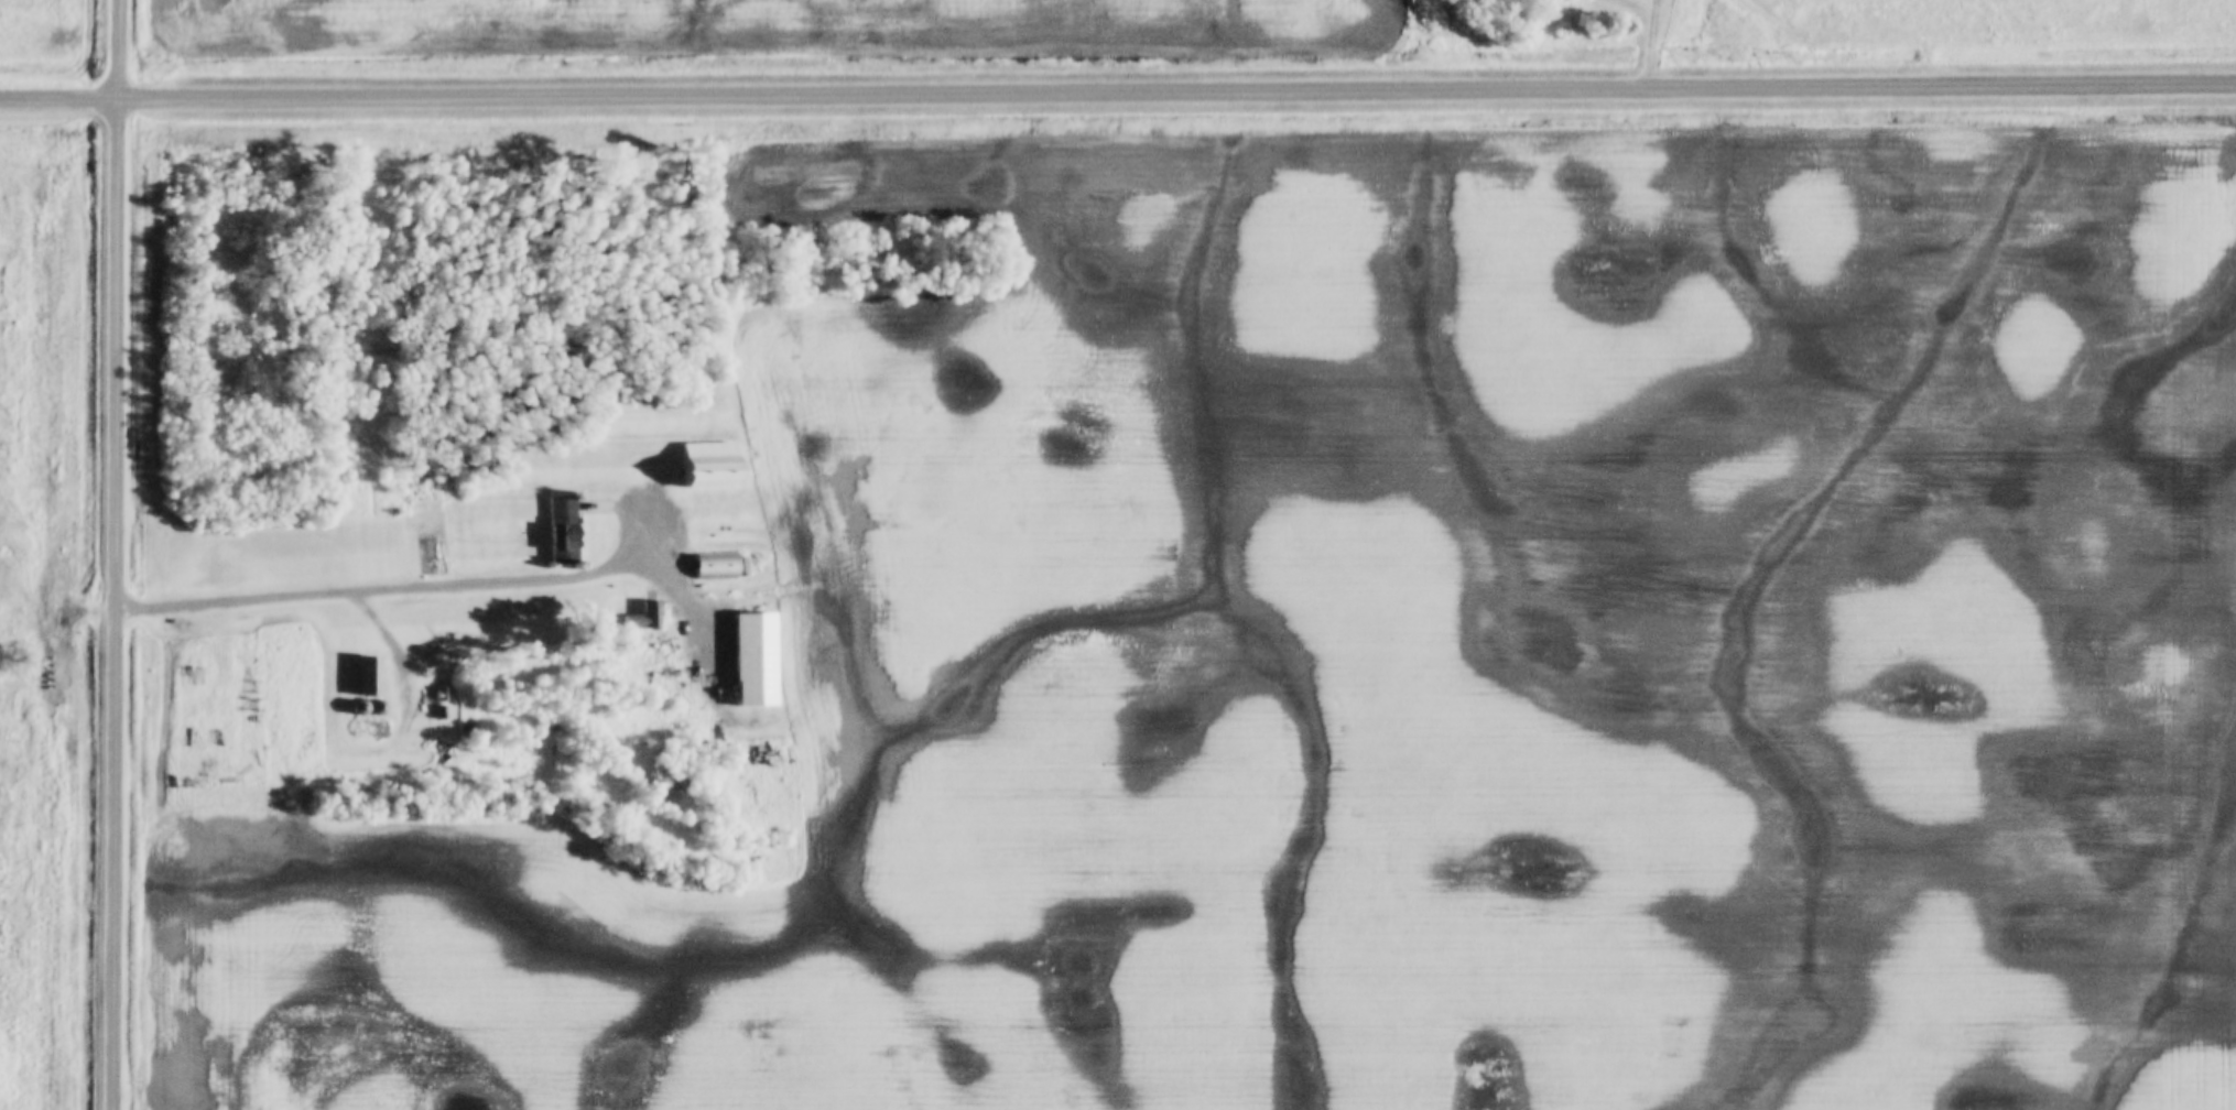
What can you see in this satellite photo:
road: (1660, 44)
road: (123, 48)
road: (1118, 91)
building: (709, 466)
building: (563, 529)
building: (716, 567)
road: (421, 588)
road: (119, 602)
building: (643, 617)
building: (755, 660)
building: (368, 677)
building: (377, 708)
building: (357, 728)
building: (379, 728)

